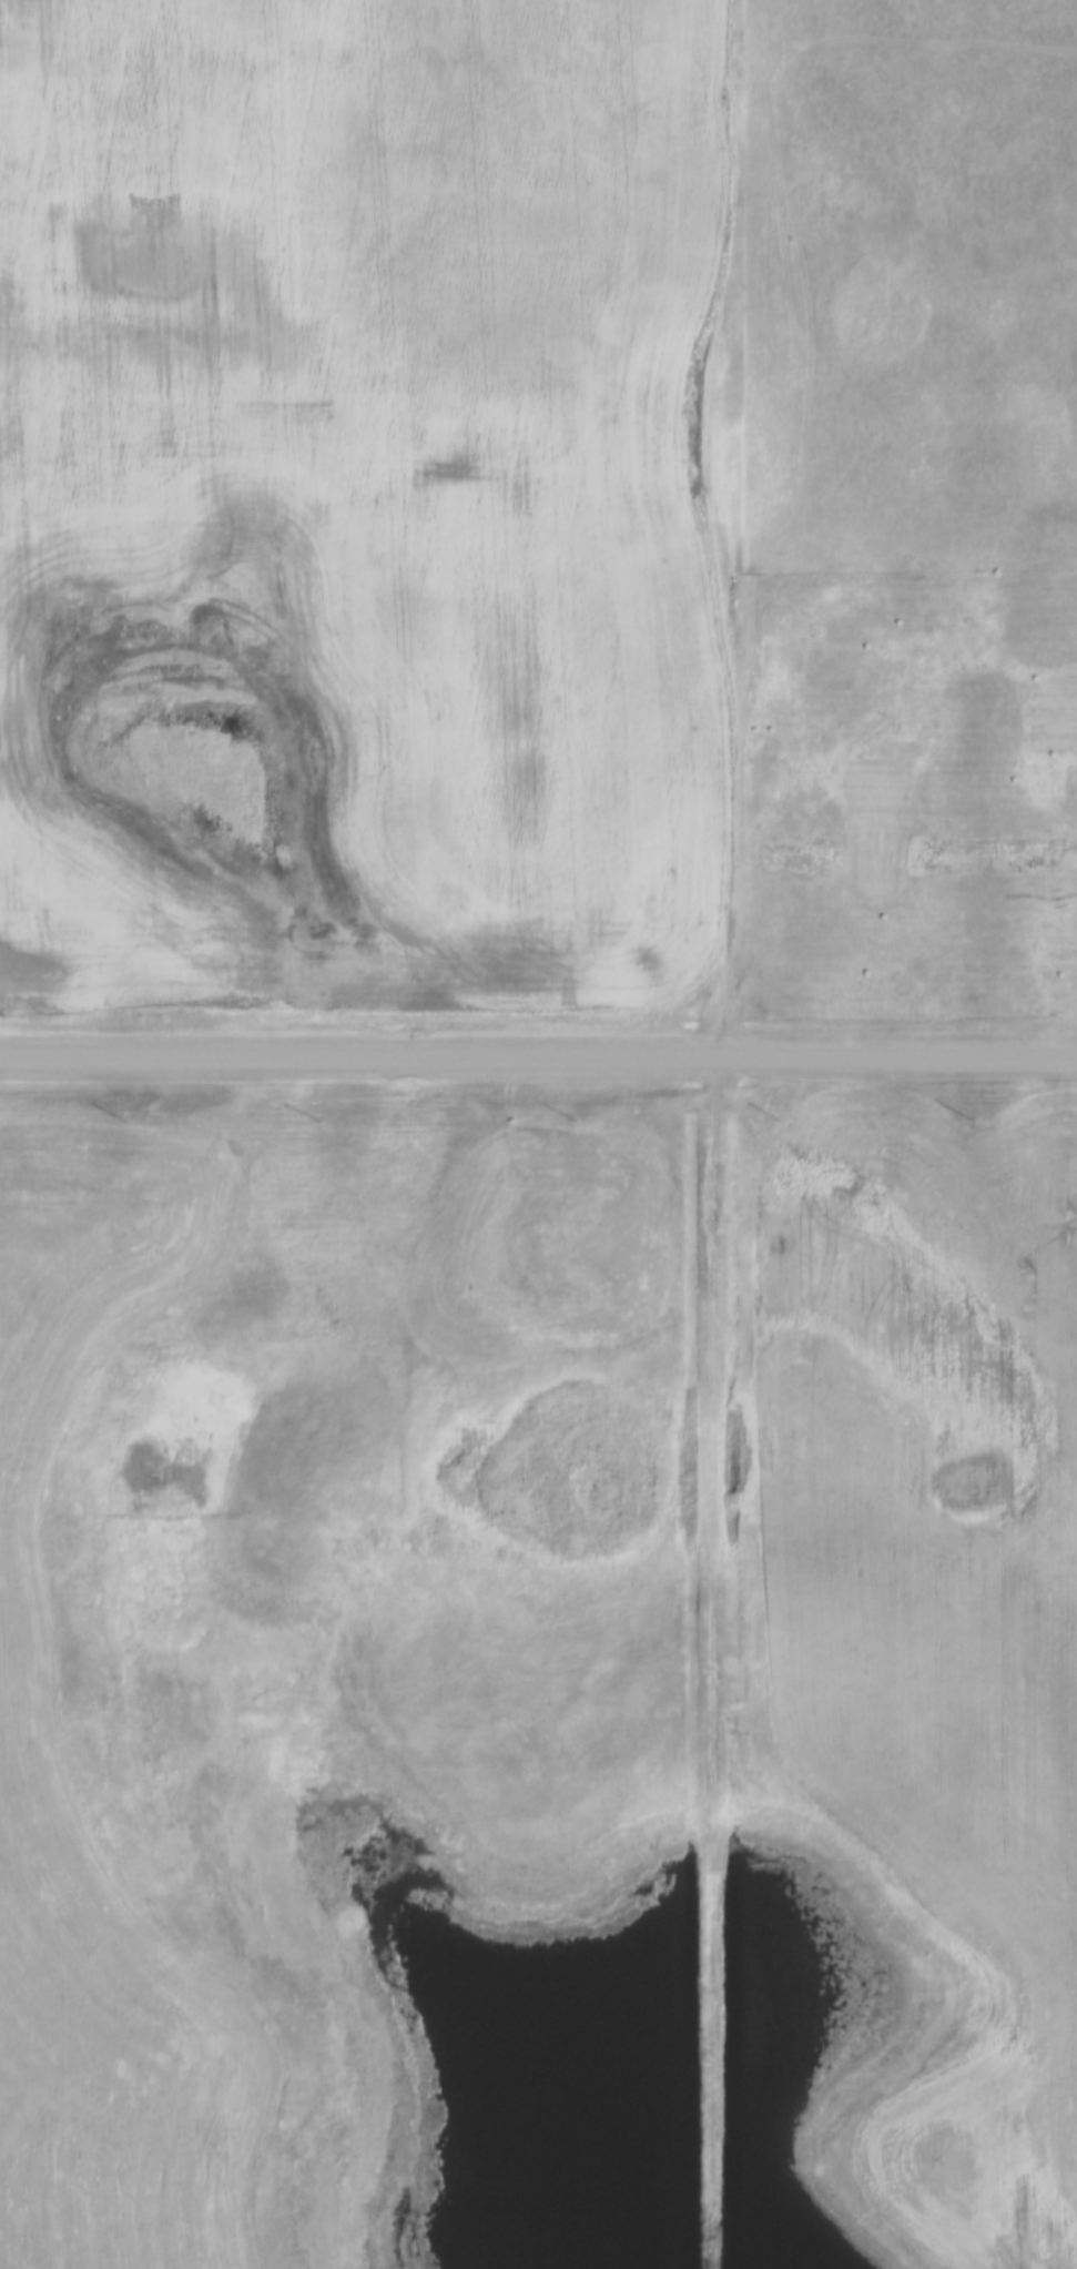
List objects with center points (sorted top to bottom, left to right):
road: (705, 527)
road: (538, 1056)
road: (707, 1662)

